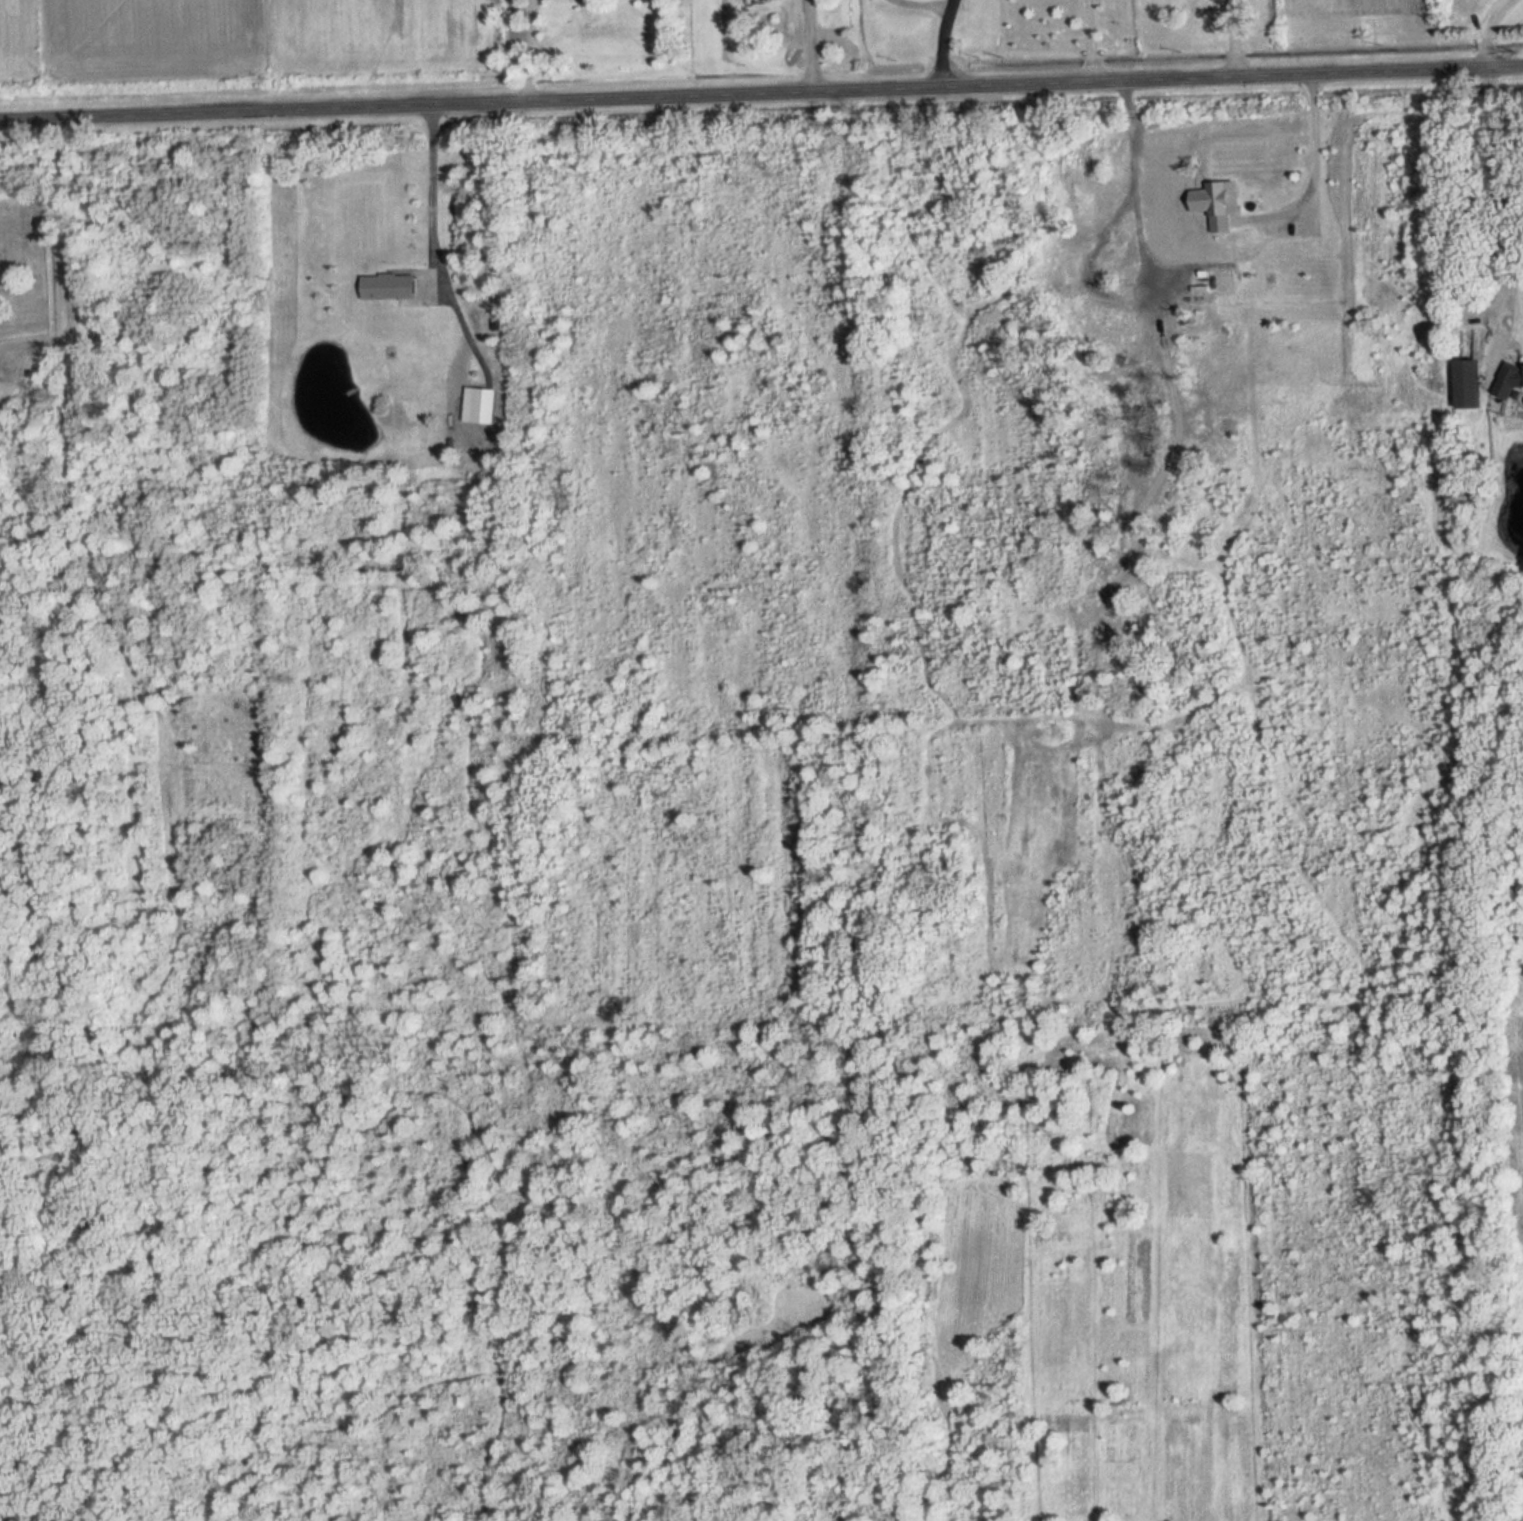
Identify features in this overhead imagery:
road: (1484, 31)
road: (1234, 39)
road: (1089, 41)
road: (942, 43)
road: (810, 47)
road: (527, 51)
road: (761, 95)
road: (1309, 168)
road: (434, 205)
building: (1221, 206)
road: (1508, 252)
road: (66, 262)
building: (389, 286)
building: (1252, 341)
building: (1510, 378)
building: (1468, 385)
building: (482, 405)

